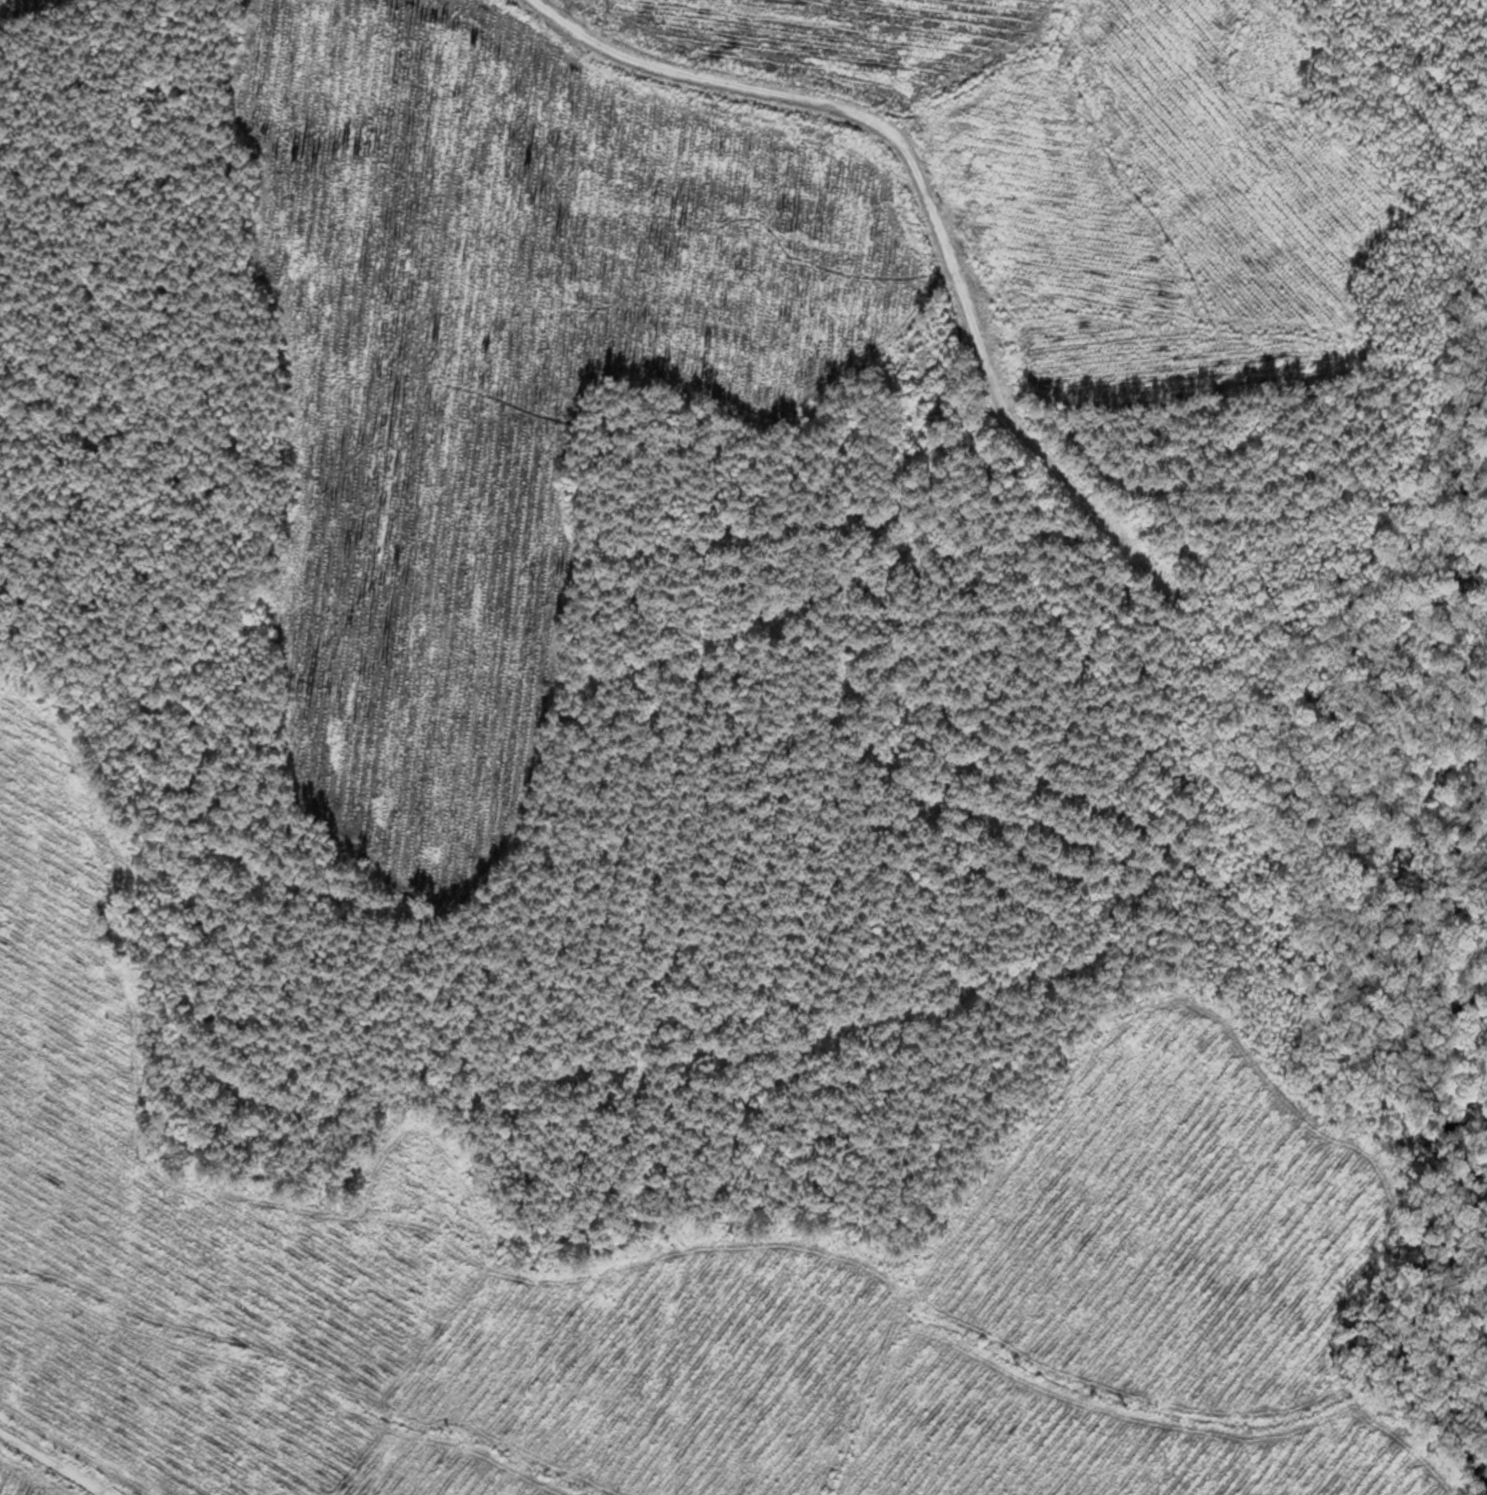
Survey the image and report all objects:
road: (46, 1466)

